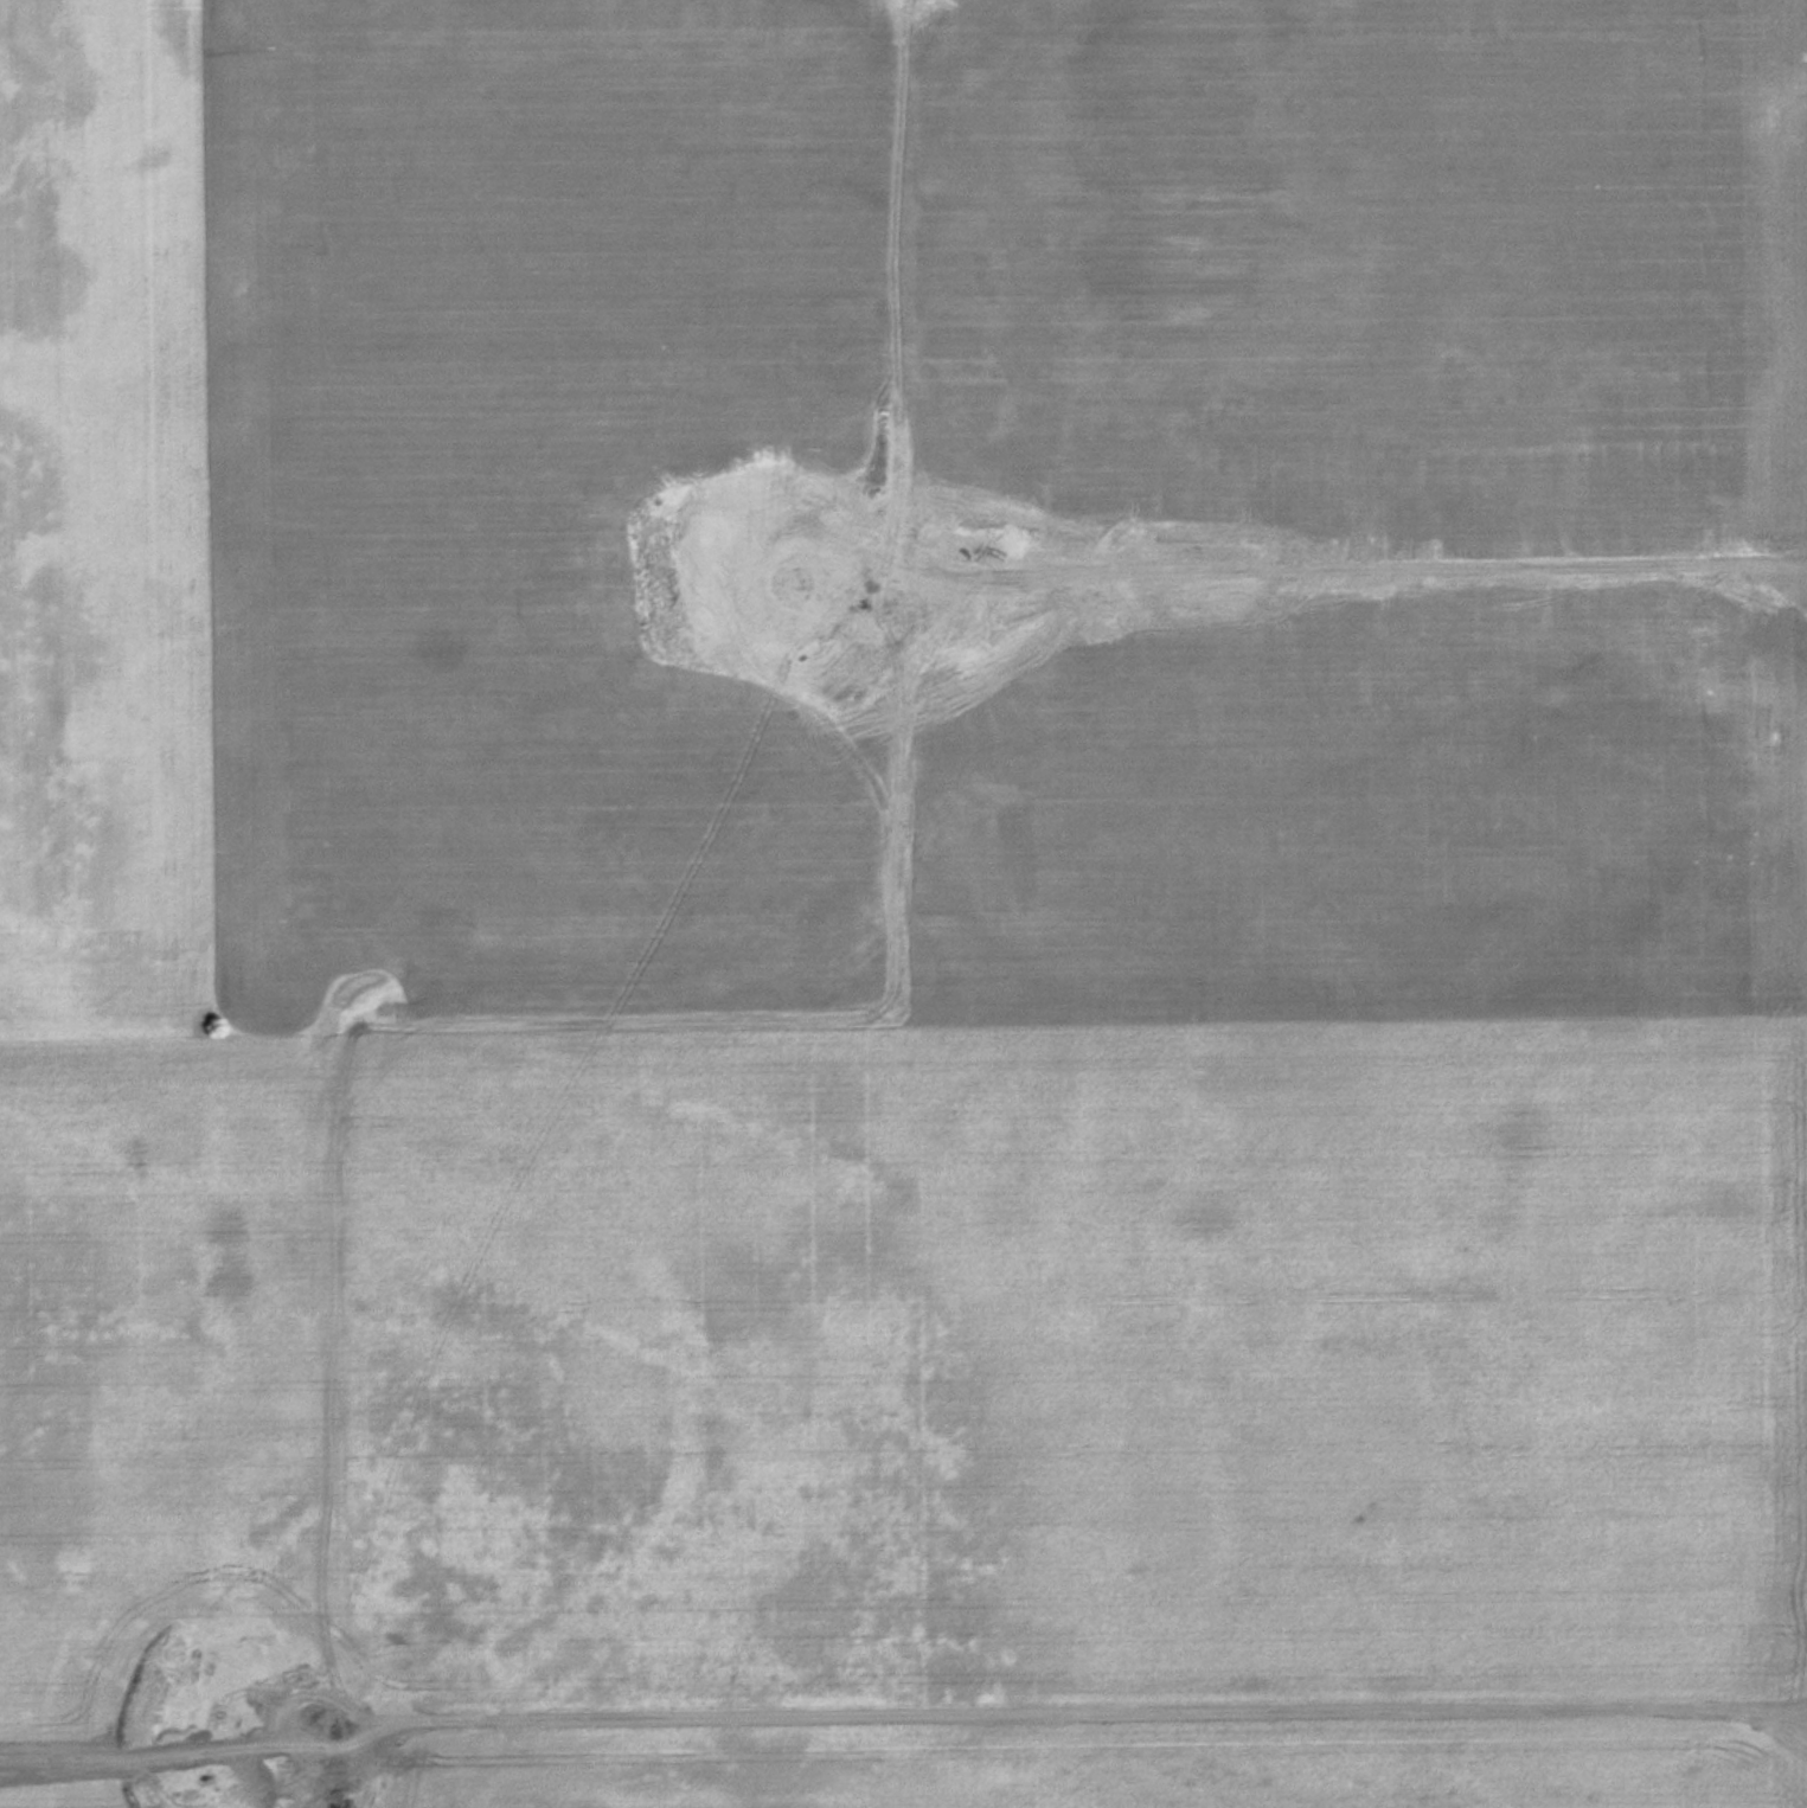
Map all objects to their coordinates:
wind turbine: (877, 577)
wind turbine: (233, 1742)

